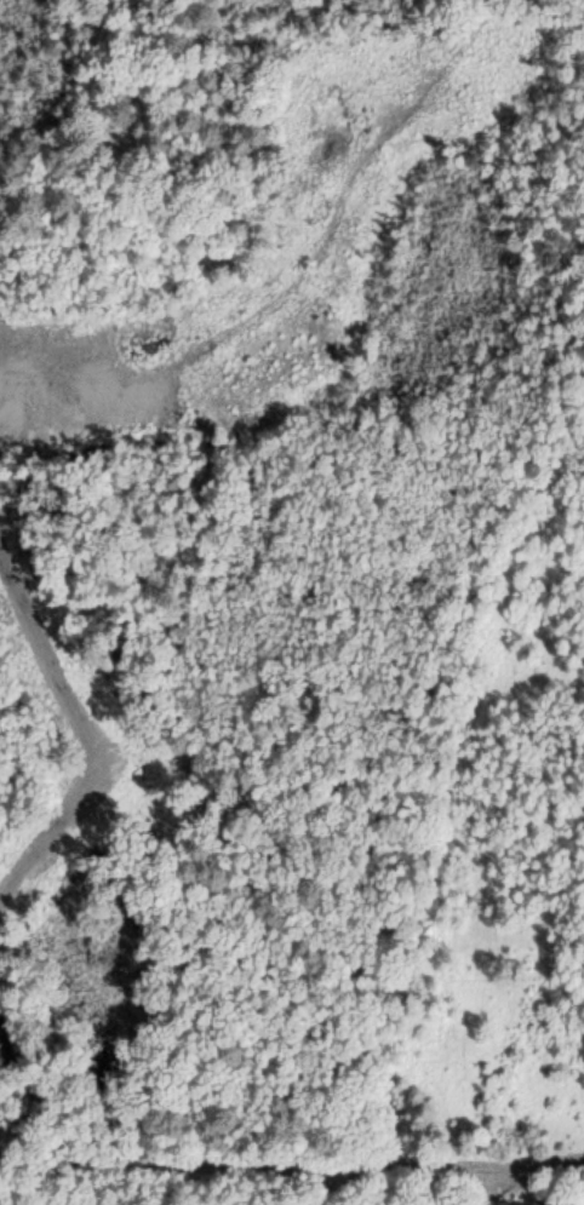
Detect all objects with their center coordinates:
road: (292, 1166)

